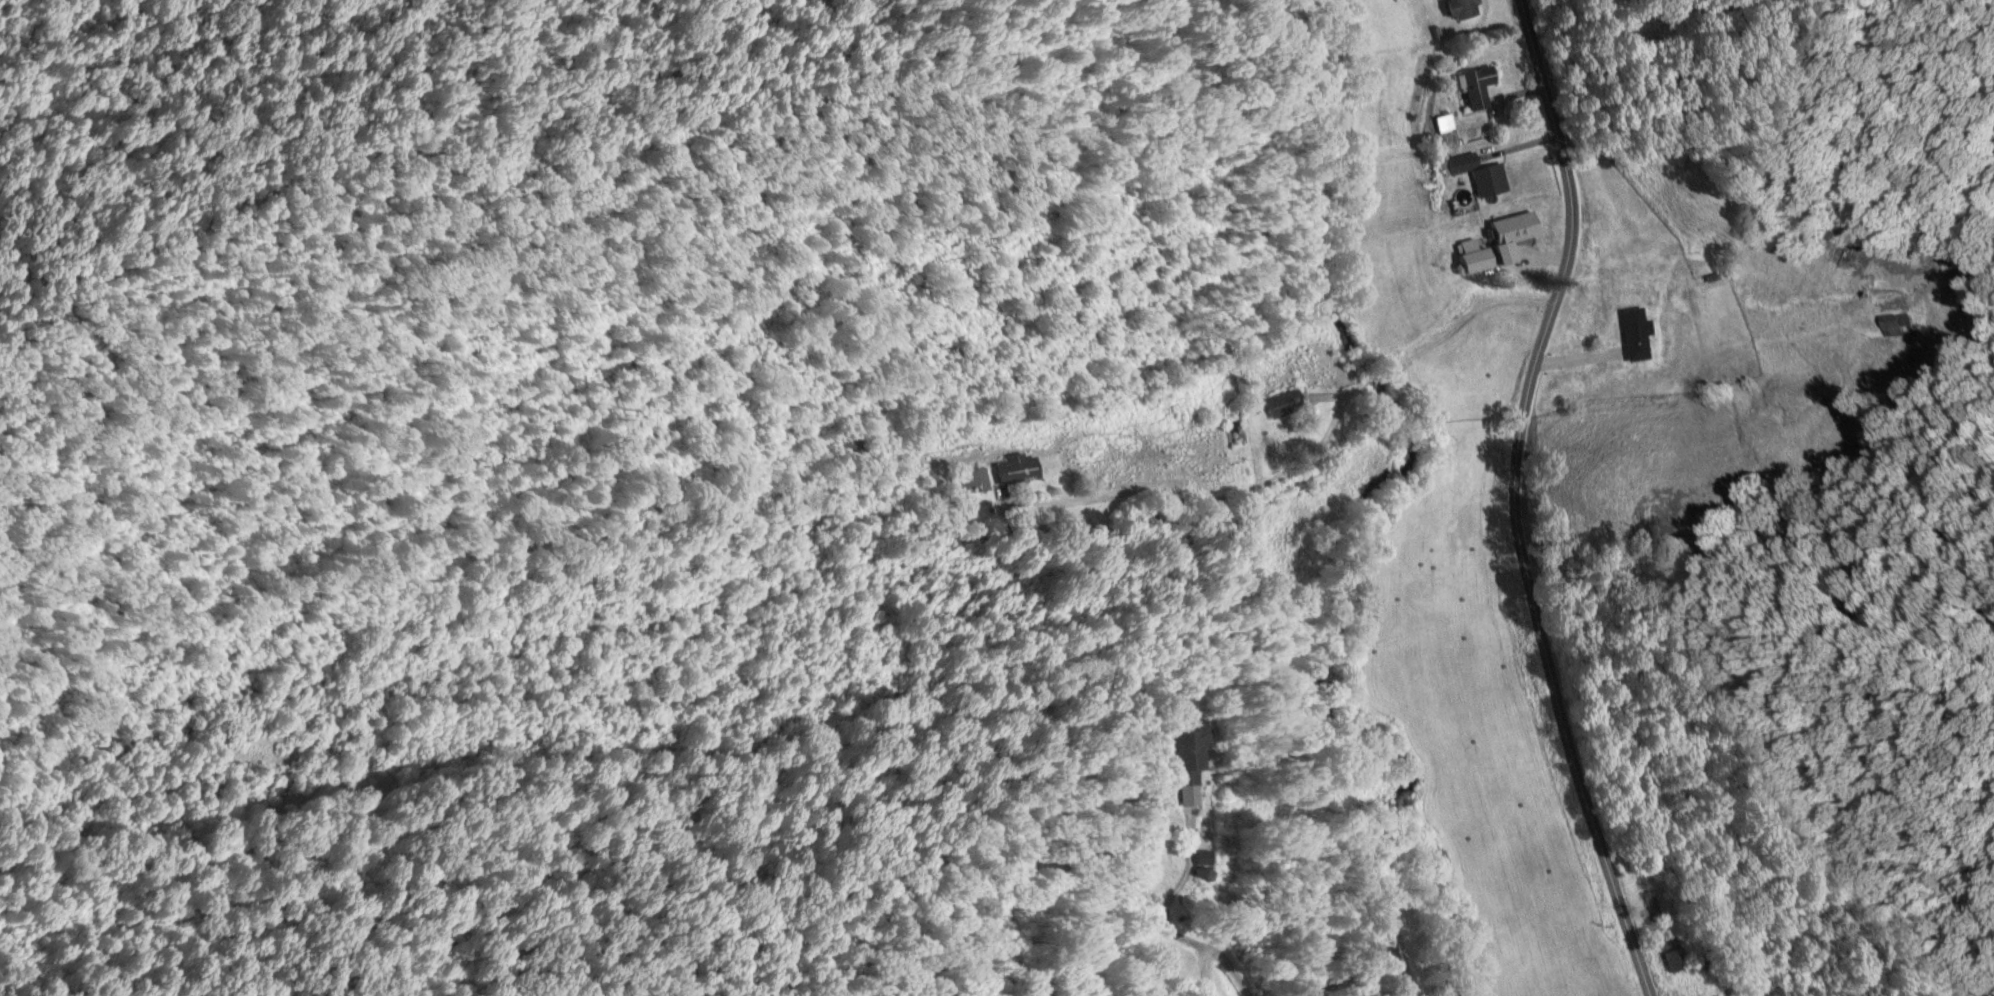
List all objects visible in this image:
building: (1463, 8)
building: (1480, 85)
building: (1447, 129)
building: (1478, 173)
building: (1514, 235)
building: (1897, 325)
road: (1444, 327)
building: (1638, 334)
building: (1286, 403)
building: (857, 448)
building: (1019, 468)
building: (972, 479)
road: (1522, 500)
road: (1205, 503)
building: (1193, 756)
building: (1652, 903)
building: (1674, 954)
building: (1378, 959)

